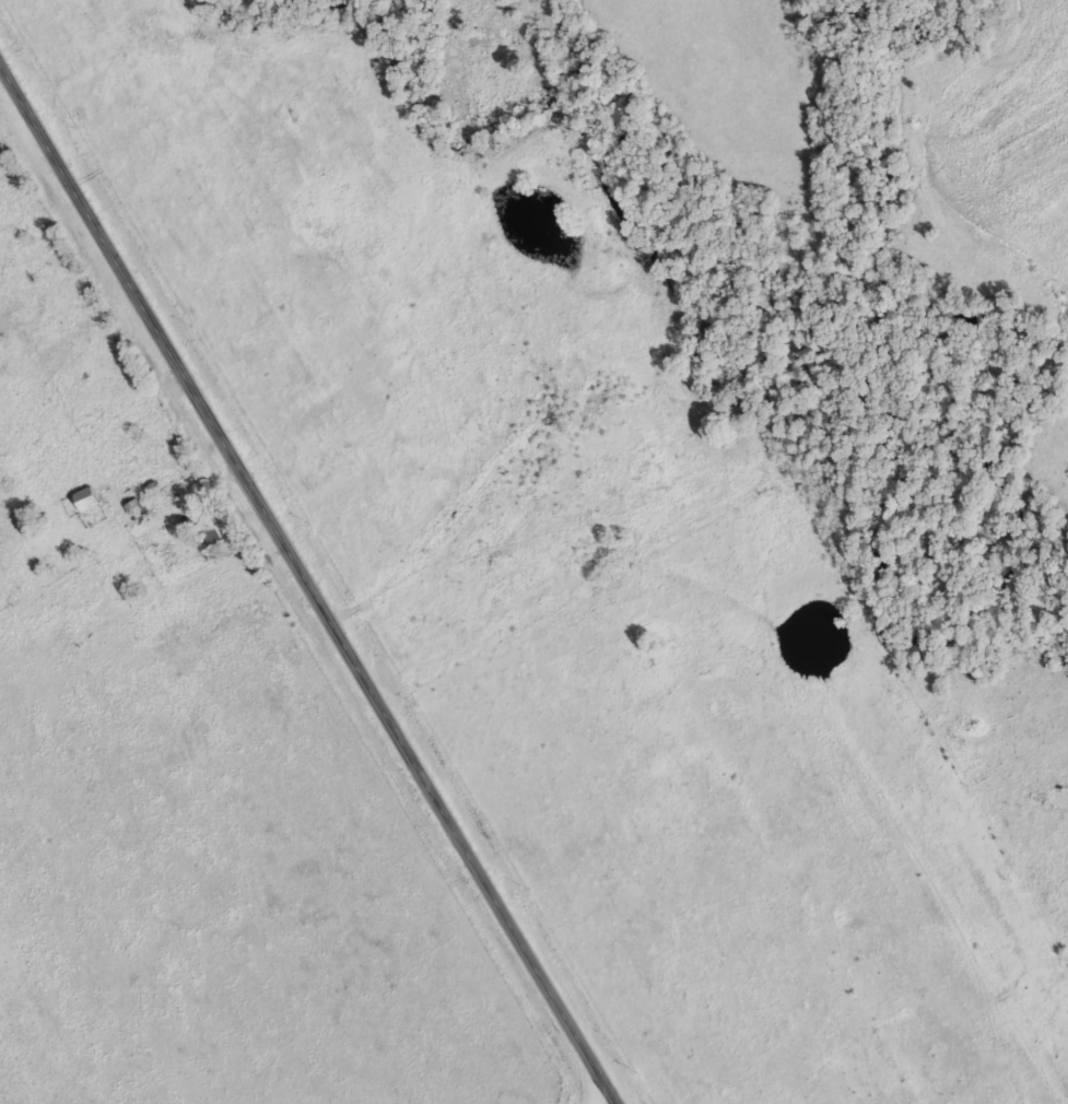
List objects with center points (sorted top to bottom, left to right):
road: (307, 584)

